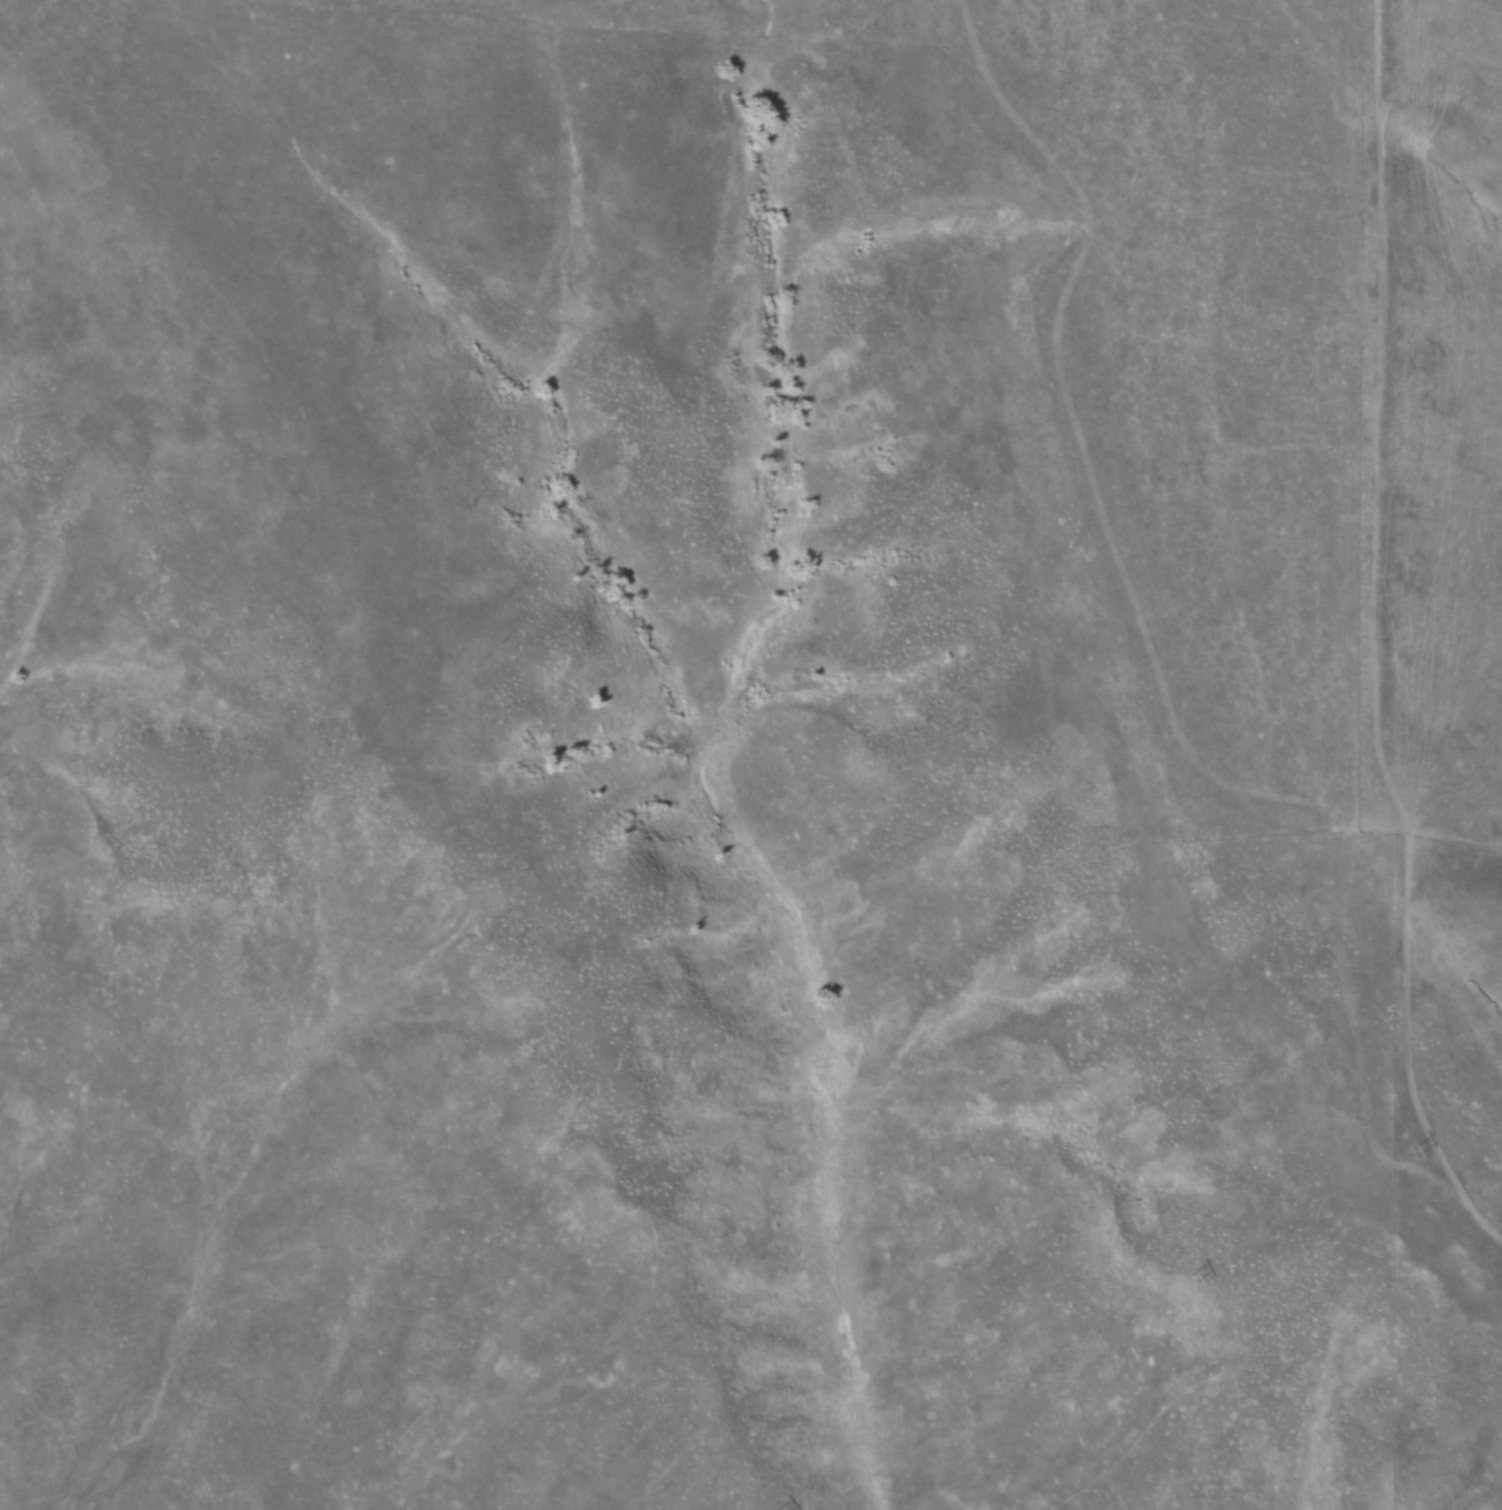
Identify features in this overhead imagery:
power tower: (1414, 1154)
power tower: (1194, 1279)

